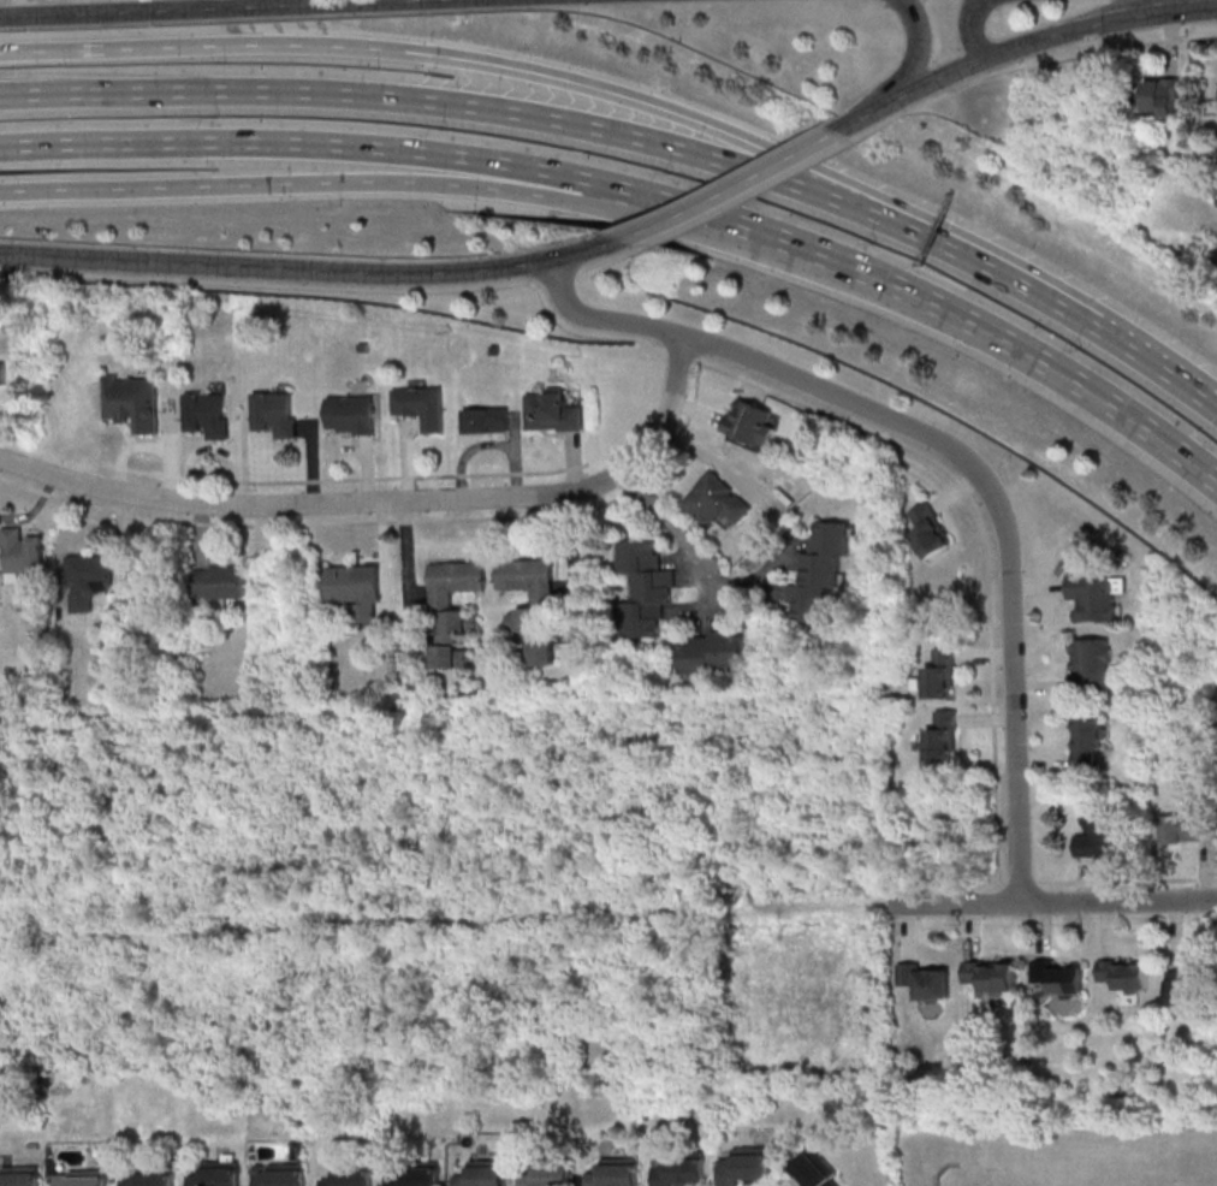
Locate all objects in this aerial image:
road: (220, 4)
road: (202, 7)
road: (970, 29)
road: (396, 51)
road: (984, 58)
road: (906, 73)
building: (1162, 96)
road: (446, 103)
road: (337, 144)
road: (265, 183)
road: (729, 188)
road: (955, 239)
road: (749, 251)
road: (821, 251)
road: (313, 269)
road: (1001, 278)
road: (600, 320)
building: (2, 373)
road: (1169, 374)
road: (694, 392)
road: (1094, 398)
building: (133, 401)
building: (421, 405)
building: (552, 410)
building: (277, 413)
building: (208, 414)
building: (351, 415)
building: (486, 420)
building: (749, 421)
building: (716, 499)
road: (386, 502)
road: (1003, 522)
road: (670, 523)
building: (928, 532)
road: (565, 533)
road: (406, 551)
building: (22, 553)
building: (821, 570)
building: (528, 577)
building: (89, 580)
building: (221, 582)
building: (646, 587)
building: (356, 589)
building: (1096, 595)
building: (453, 611)
building: (532, 619)
building: (541, 652)
building: (712, 652)
building: (1092, 663)
building: (940, 674)
building: (942, 736)
building: (1088, 740)
building: (1180, 829)
building: (1102, 834)
road: (1075, 880)
road: (1051, 901)
road: (485, 918)
building: (1126, 974)
building: (990, 976)
building: (1061, 977)
building: (926, 980)
building: (1189, 983)
building: (746, 1164)
building: (681, 1168)
building: (815, 1170)
building: (485, 1173)
building: (617, 1173)
building: (415, 1174)
building: (218, 1175)
building: (283, 1175)
building: (351, 1175)
building: (22, 1176)
building: (153, 1176)
building: (550, 1176)
building: (83, 1178)

